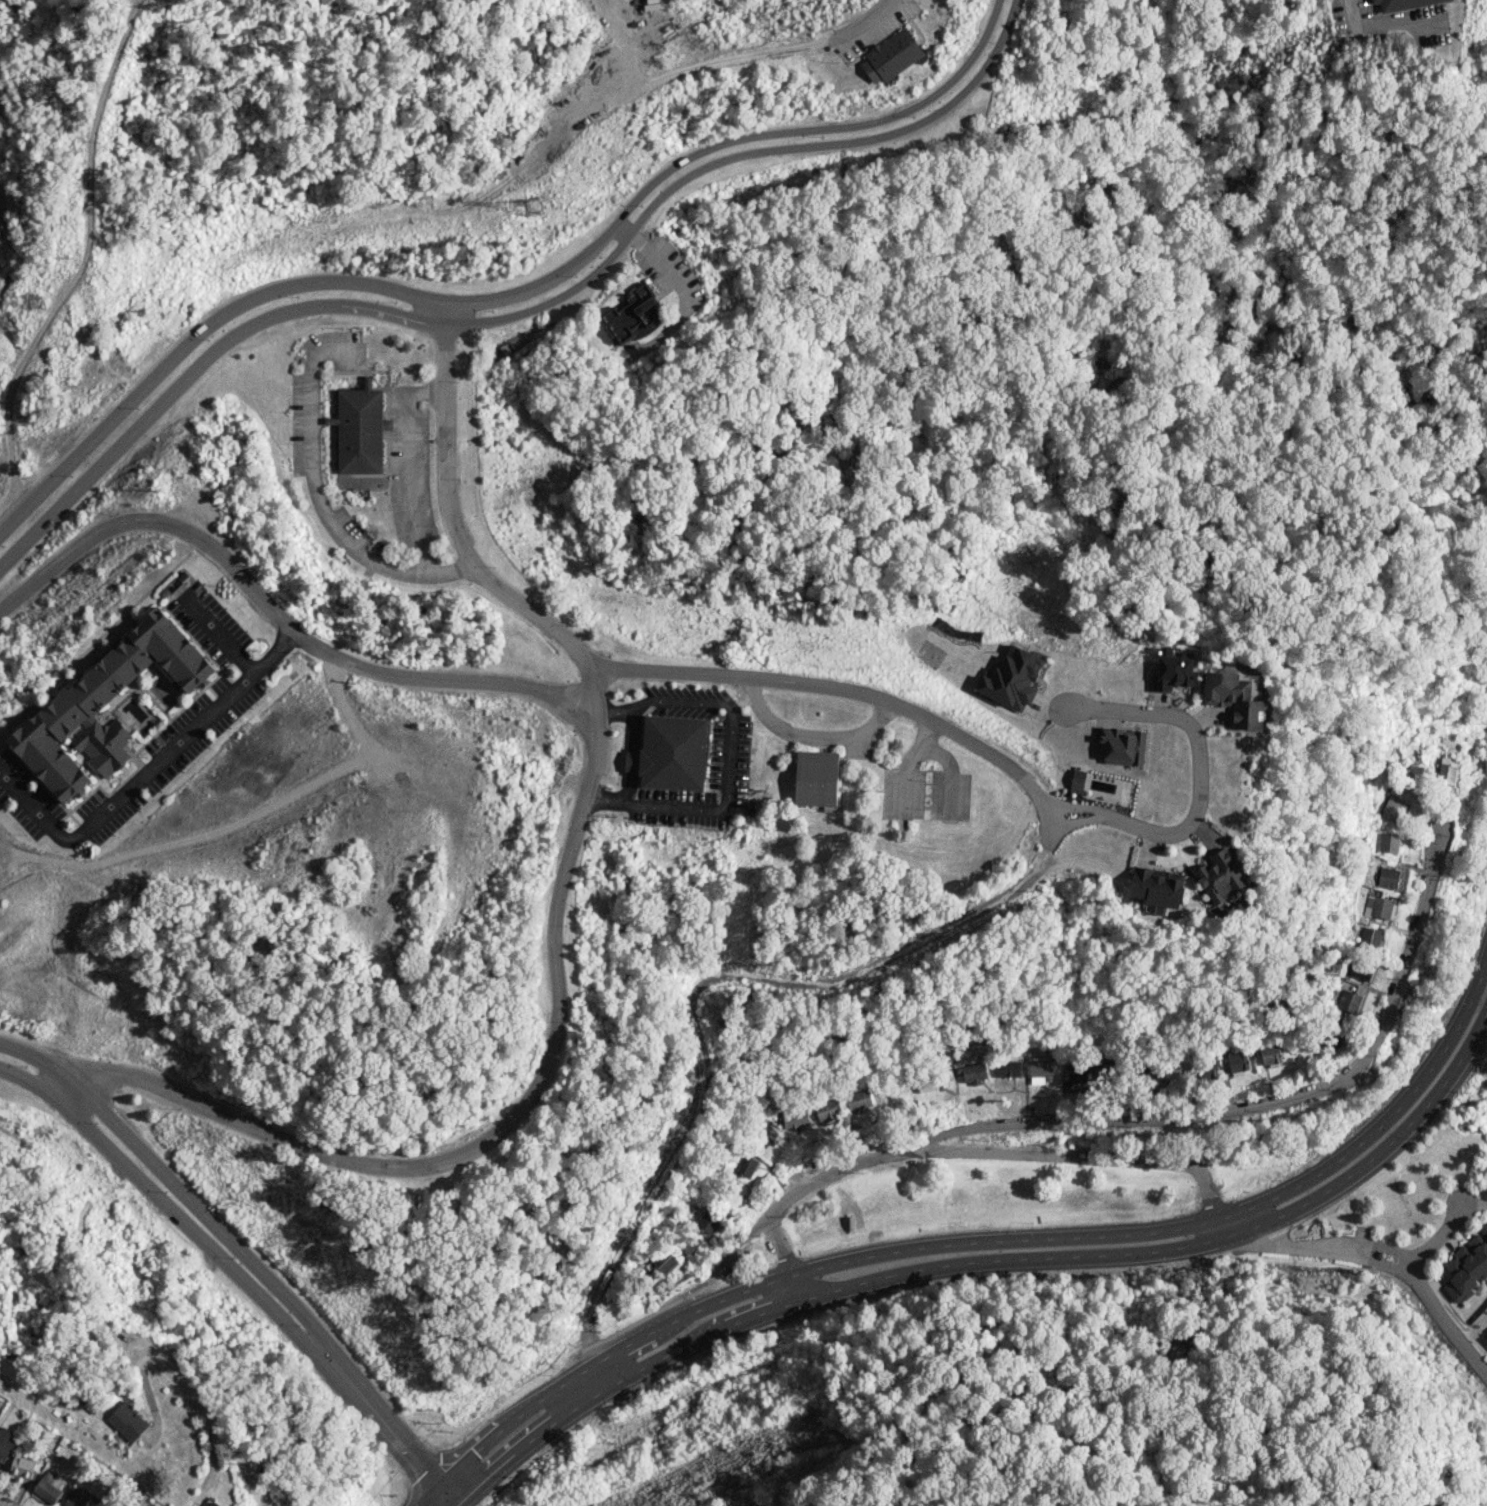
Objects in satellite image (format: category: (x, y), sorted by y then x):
building: (1405, 4)
road: (1390, 21)
road: (860, 27)
building: (893, 57)
road: (797, 131)
road: (736, 156)
road: (85, 262)
road: (684, 287)
road: (252, 300)
building: (635, 314)
road: (192, 371)
building: (361, 429)
road: (408, 465)
road: (317, 497)
road: (155, 520)
road: (216, 634)
building: (1171, 669)
road: (644, 671)
building: (1012, 678)
road: (443, 681)
park: (163, 694)
building: (1243, 698)
building: (105, 707)
road: (813, 736)
building: (1120, 745)
building: (675, 754)
road: (1201, 757)
road: (632, 759)
building: (634, 763)
road: (904, 764)
road: (729, 765)
building: (1418, 769)
building: (1445, 771)
road: (146, 773)
road: (949, 777)
building: (818, 780)
building: (1077, 781)
road: (1075, 807)
building: (1393, 809)
road: (1077, 822)
building: (1388, 842)
building: (1387, 876)
building: (1229, 880)
building: (1163, 889)
building: (1378, 906)
building: (1370, 937)
building: (1360, 971)
road: (702, 987)
building: (1349, 1000)
building: (1237, 1061)
building: (1008, 1068)
building: (1207, 1069)
building: (1039, 1070)
building: (974, 1073)
building: (1075, 1073)
building: (933, 1082)
building: (858, 1099)
building: (827, 1111)
building: (795, 1118)
road: (1112, 1126)
road: (500, 1128)
road: (1078, 1161)
building: (747, 1165)
building: (708, 1223)
road: (1436, 1238)
building: (691, 1243)
road: (988, 1247)
road: (1378, 1258)
building: (664, 1261)
road: (785, 1261)
building: (1467, 1265)
road: (1008, 1269)
building: (1486, 1337)
road: (324, 1348)
road: (599, 1366)
road: (188, 1390)
building: (93, 1407)
building: (129, 1420)
road: (389, 1428)
building: (5, 1443)
building: (24, 1467)
building: (50, 1486)
traffic signals: (439, 1487)
road: (464, 1488)
road: (475, 1493)
building: (79, 1500)
road: (426, 1500)
traffic signals: (451, 1502)
building: (211, 1503)

